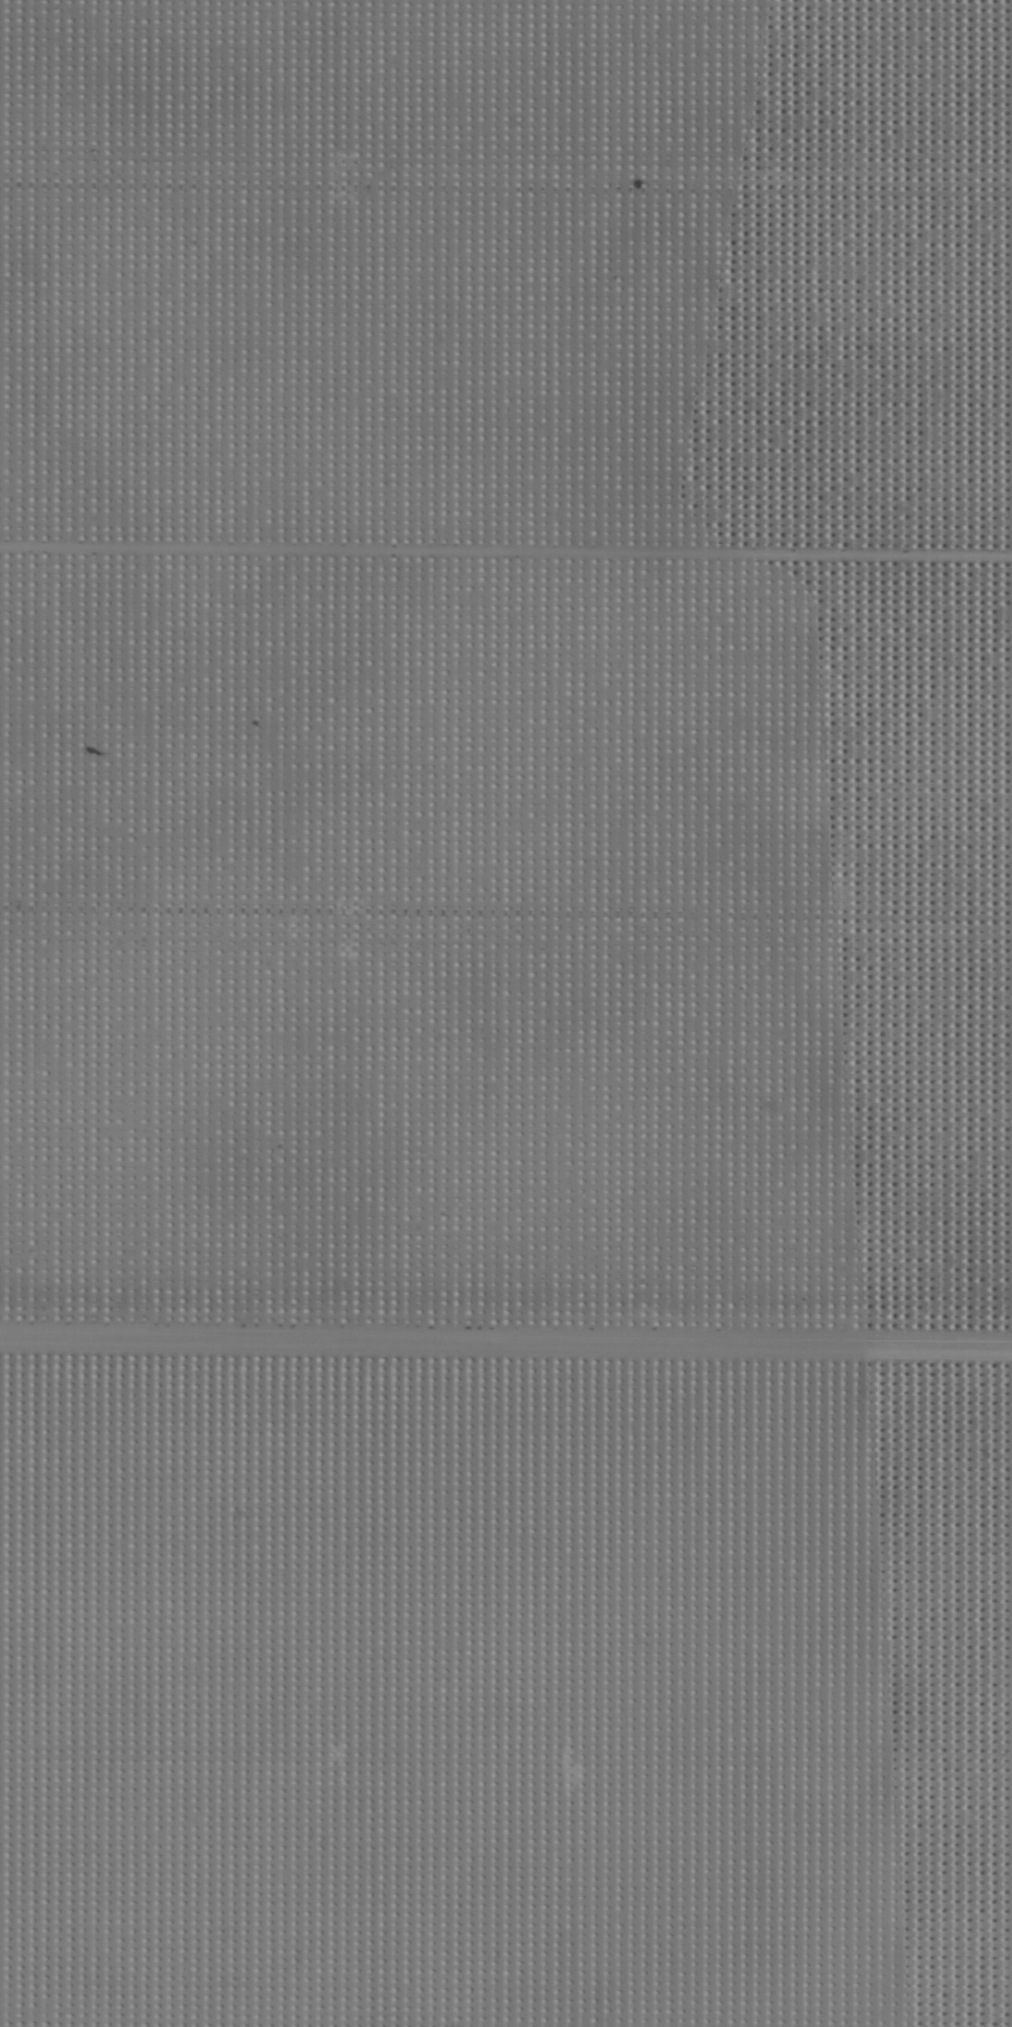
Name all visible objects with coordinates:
crop: (506, 1013)
road: (506, 1304)

